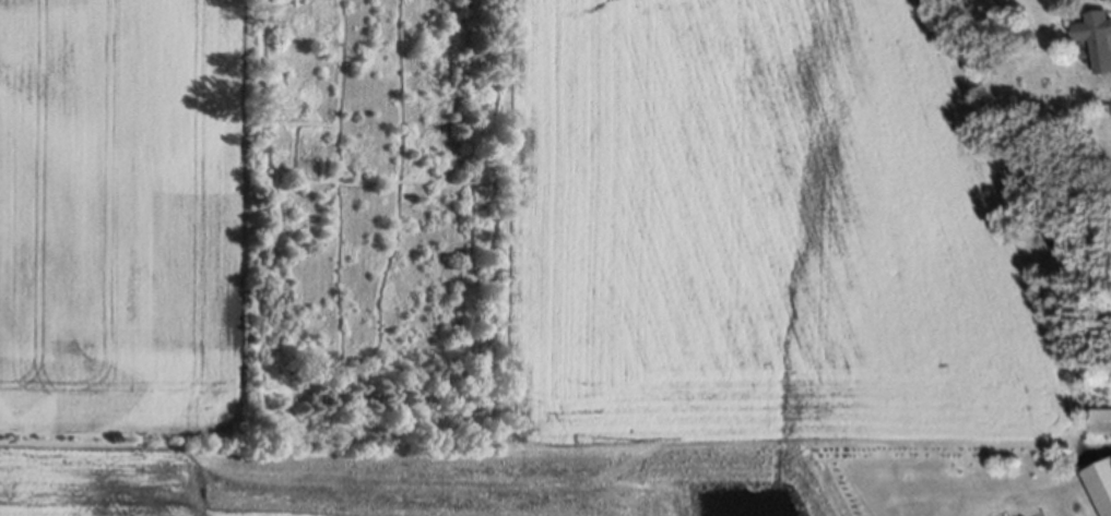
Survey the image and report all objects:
building: (1096, 39)
crop: (534, 264)
building: (1101, 421)
building: (1101, 484)

